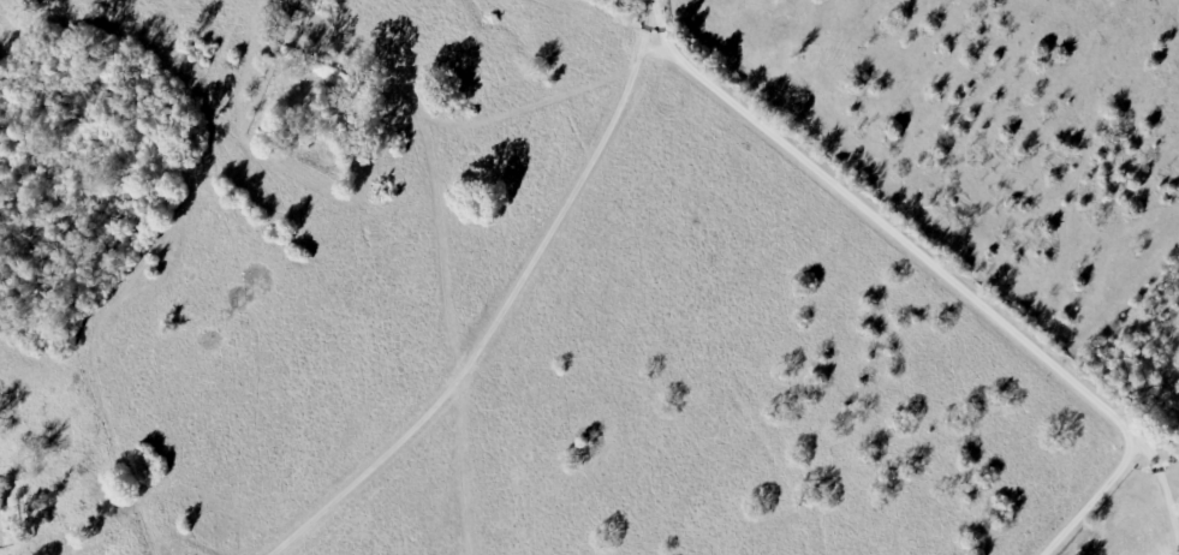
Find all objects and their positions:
park: (309, 115)
road: (947, 284)
road: (506, 305)
building: (1, 500)

